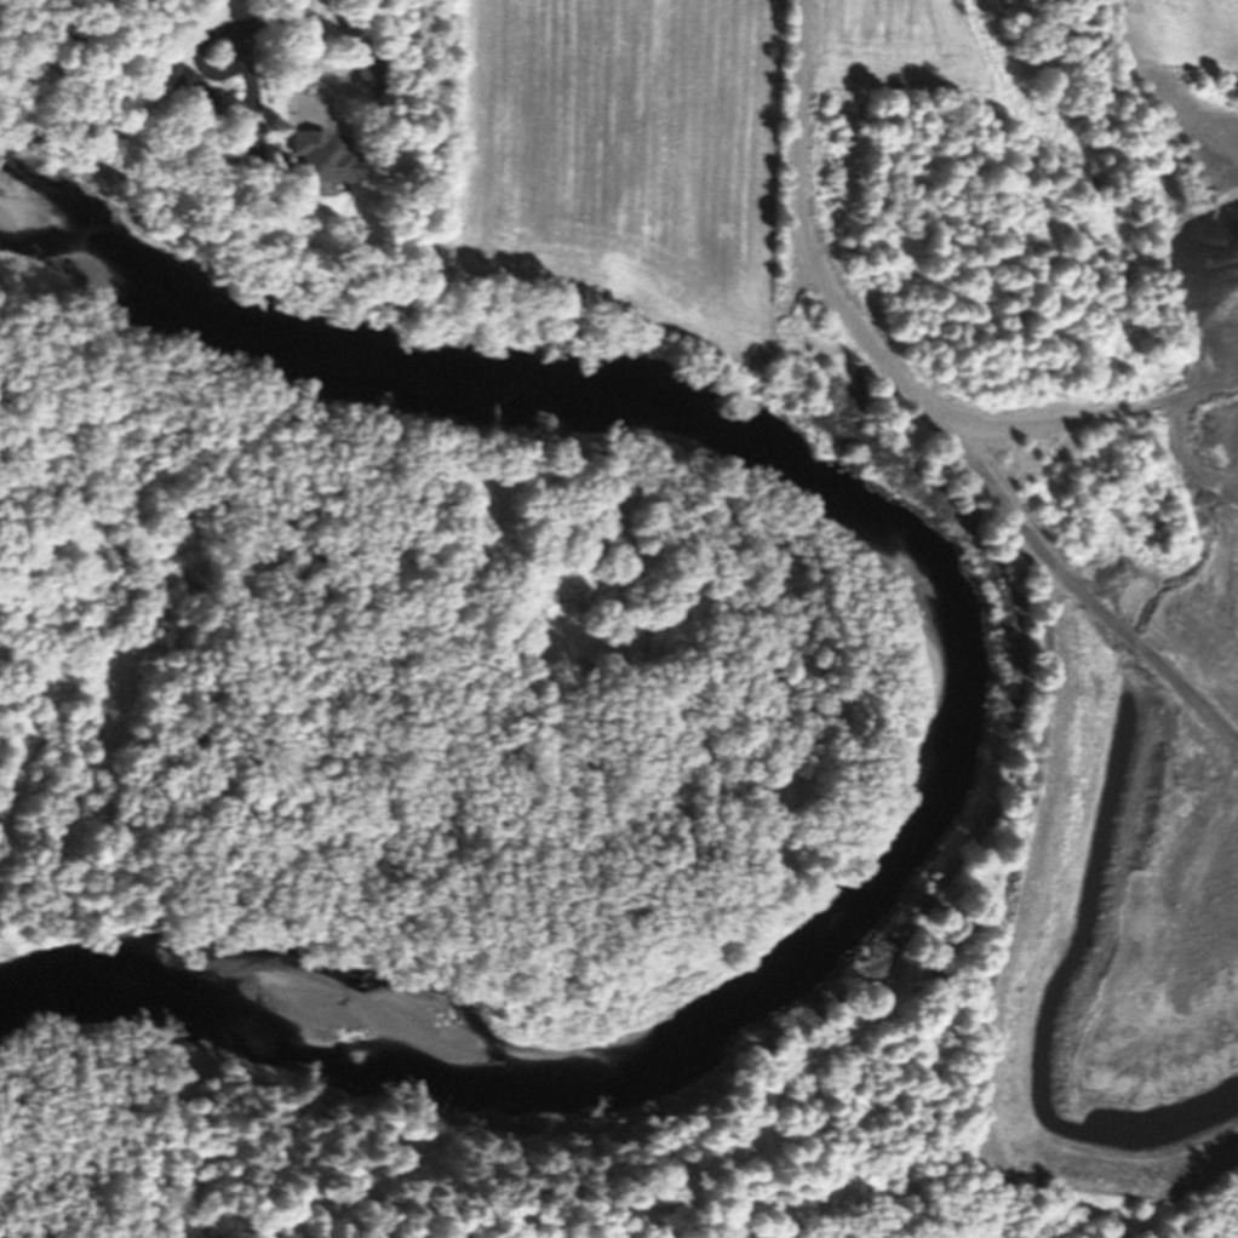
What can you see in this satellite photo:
road: (305, 1)
building: (367, 64)
building: (199, 97)
building: (245, 150)
building: (320, 157)
crop: (604, 182)
quarry: (1016, 618)
river: (899, 701)
park: (378, 1134)

